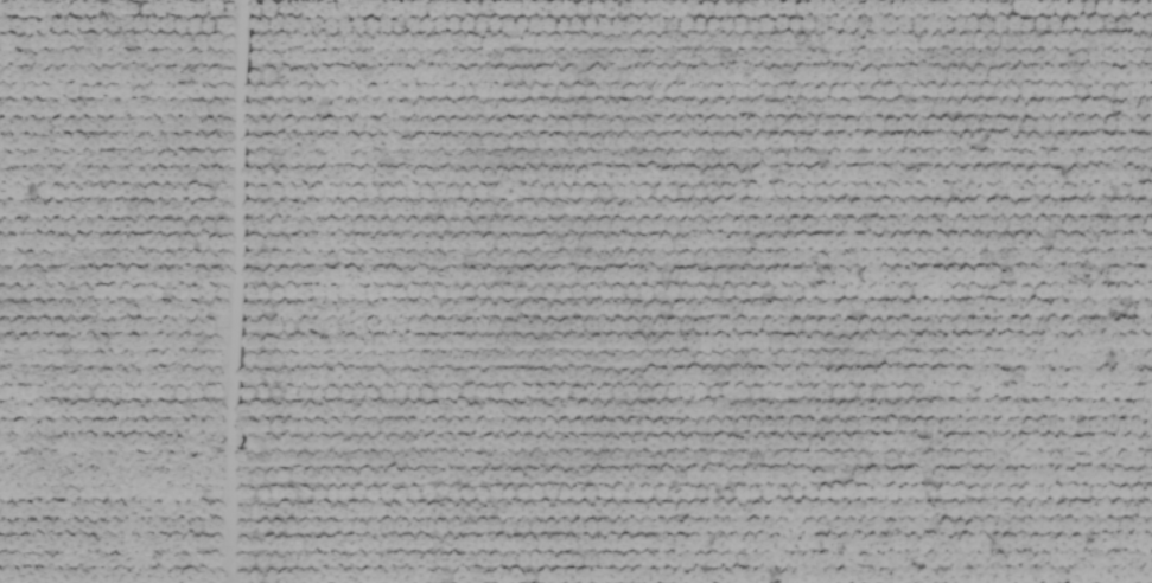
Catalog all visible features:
crop: (575, 291)

